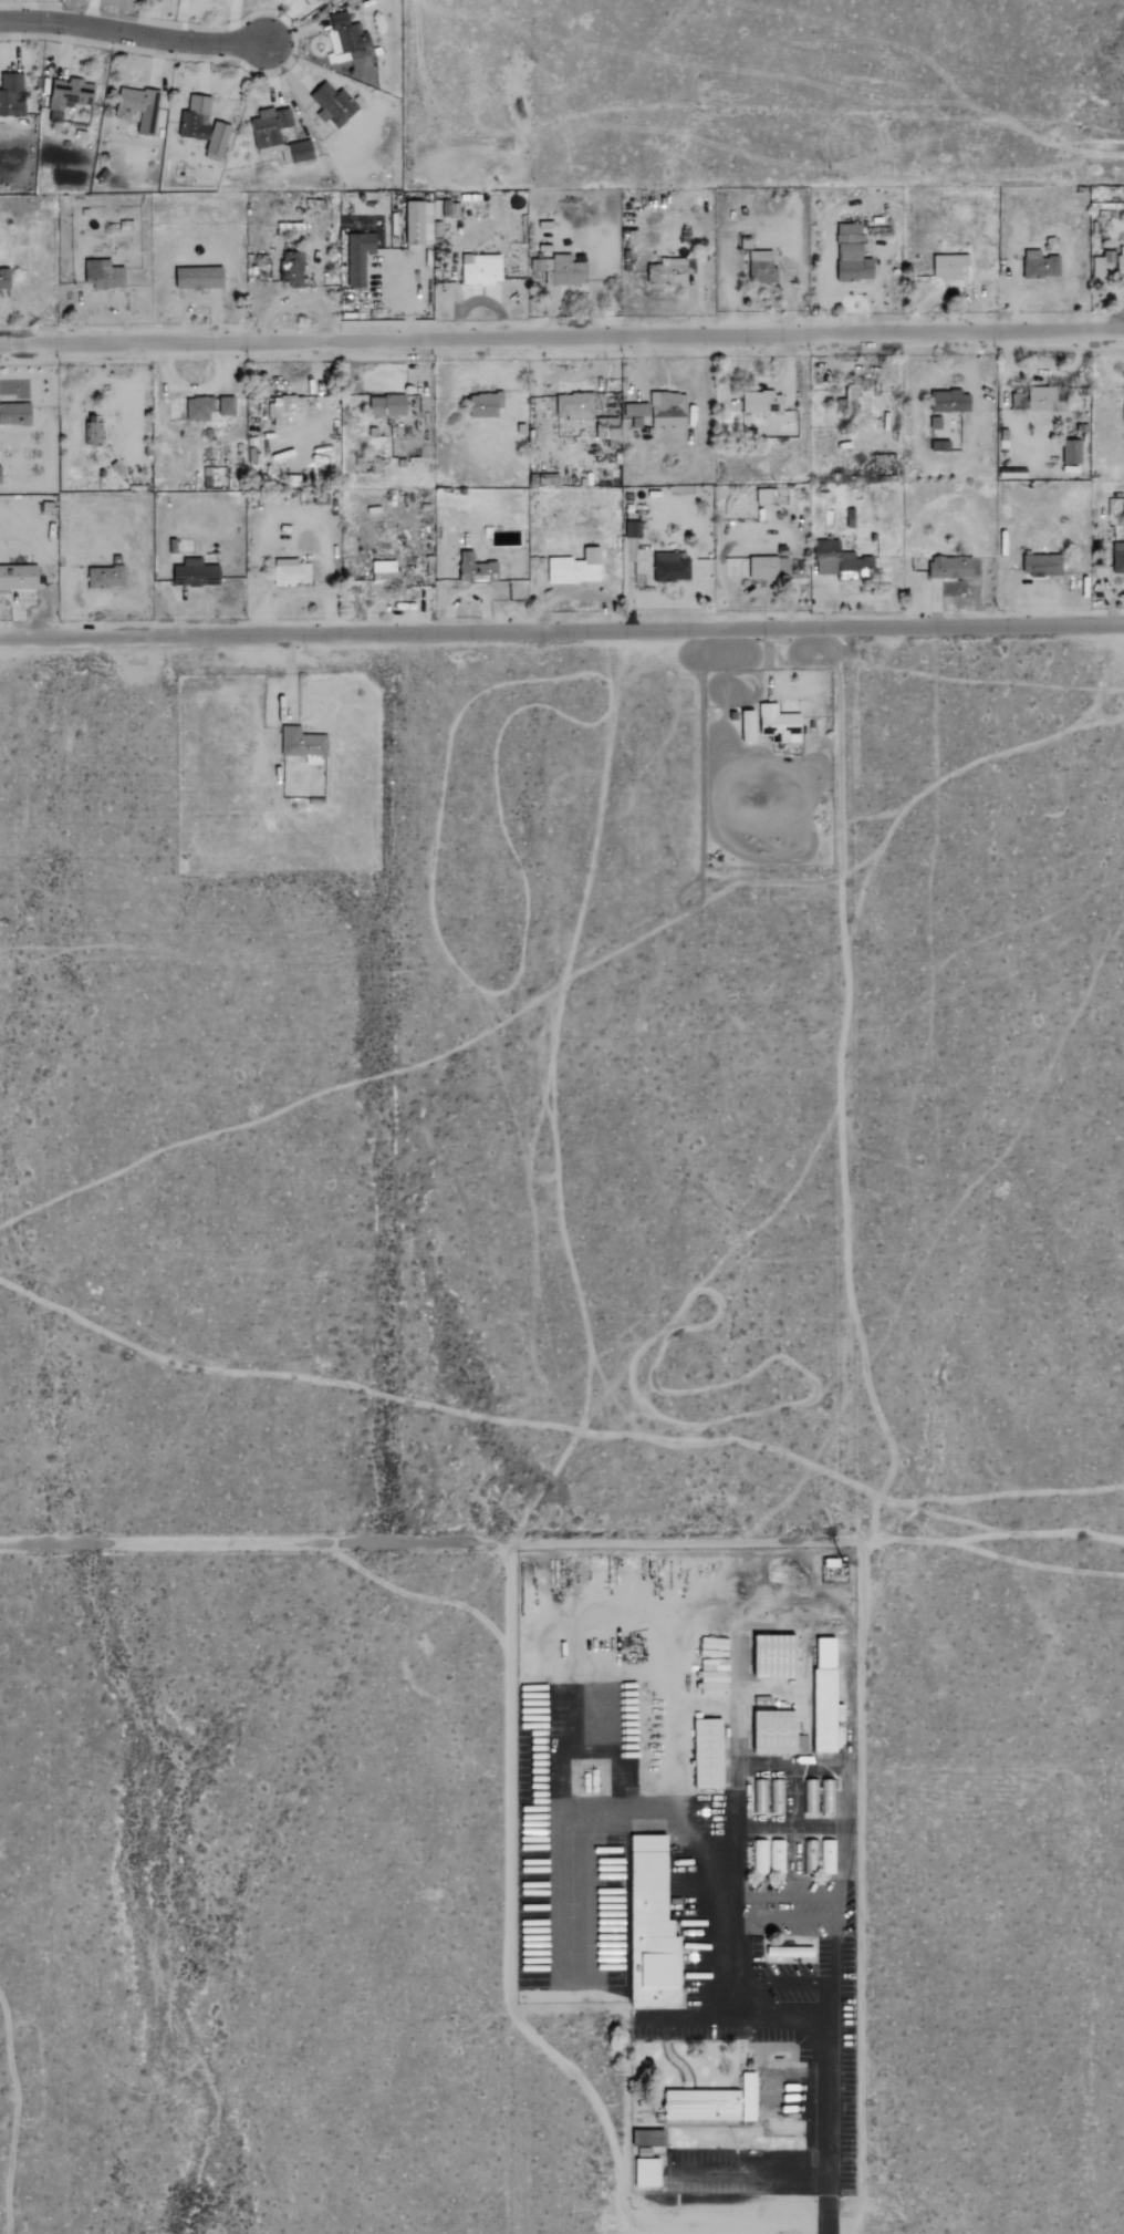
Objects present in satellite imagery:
building: (323, 1)
road: (129, 33)
building: (346, 39)
building: (11, 95)
building: (69, 96)
building: (333, 105)
building: (138, 108)
building: (196, 118)
building: (269, 130)
building: (218, 142)
building: (302, 152)
building: (415, 223)
building: (852, 255)
building: (358, 257)
building: (1107, 262)
building: (1035, 265)
building: (949, 266)
building: (762, 268)
building: (292, 269)
building: (482, 270)
building: (568, 270)
building: (668, 272)
building: (103, 275)
building: (200, 279)
building: (6, 280)
road: (562, 333)
building: (856, 397)
building: (1042, 399)
building: (951, 401)
building: (763, 402)
building: (486, 404)
building: (1122, 404)
building: (227, 405)
building: (388, 405)
building: (574, 405)
building: (199, 407)
building: (285, 408)
building: (668, 408)
building: (15, 412)
building: (636, 412)
building: (91, 430)
building: (940, 445)
building: (1068, 451)
building: (0, 474)
building: (633, 529)
building: (1117, 555)
building: (842, 561)
building: (1040, 563)
building: (670, 566)
building: (761, 566)
building: (950, 566)
building: (576, 567)
building: (477, 570)
building: (385, 571)
building: (196, 572)
building: (291, 572)
building: (106, 576)
building: (19, 577)
road: (562, 631)
building: (747, 722)
building: (779, 723)
building: (303, 742)
road: (991, 1534)
road: (778, 1541)
building: (776, 1656)
building: (715, 1675)
building: (825, 1695)
building: (778, 1733)
building: (709, 1754)
road: (836, 1766)
building: (828, 1796)
building: (757, 1797)
building: (776, 1797)
building: (810, 1797)
building: (776, 1857)
building: (809, 1857)
building: (828, 1857)
building: (759, 1858)
building: (653, 1925)
road: (782, 1980)
road: (510, 1998)
road: (684, 2016)
building: (710, 2101)
building: (647, 2135)
building: (646, 2170)
road: (747, 2171)
road: (825, 2224)

